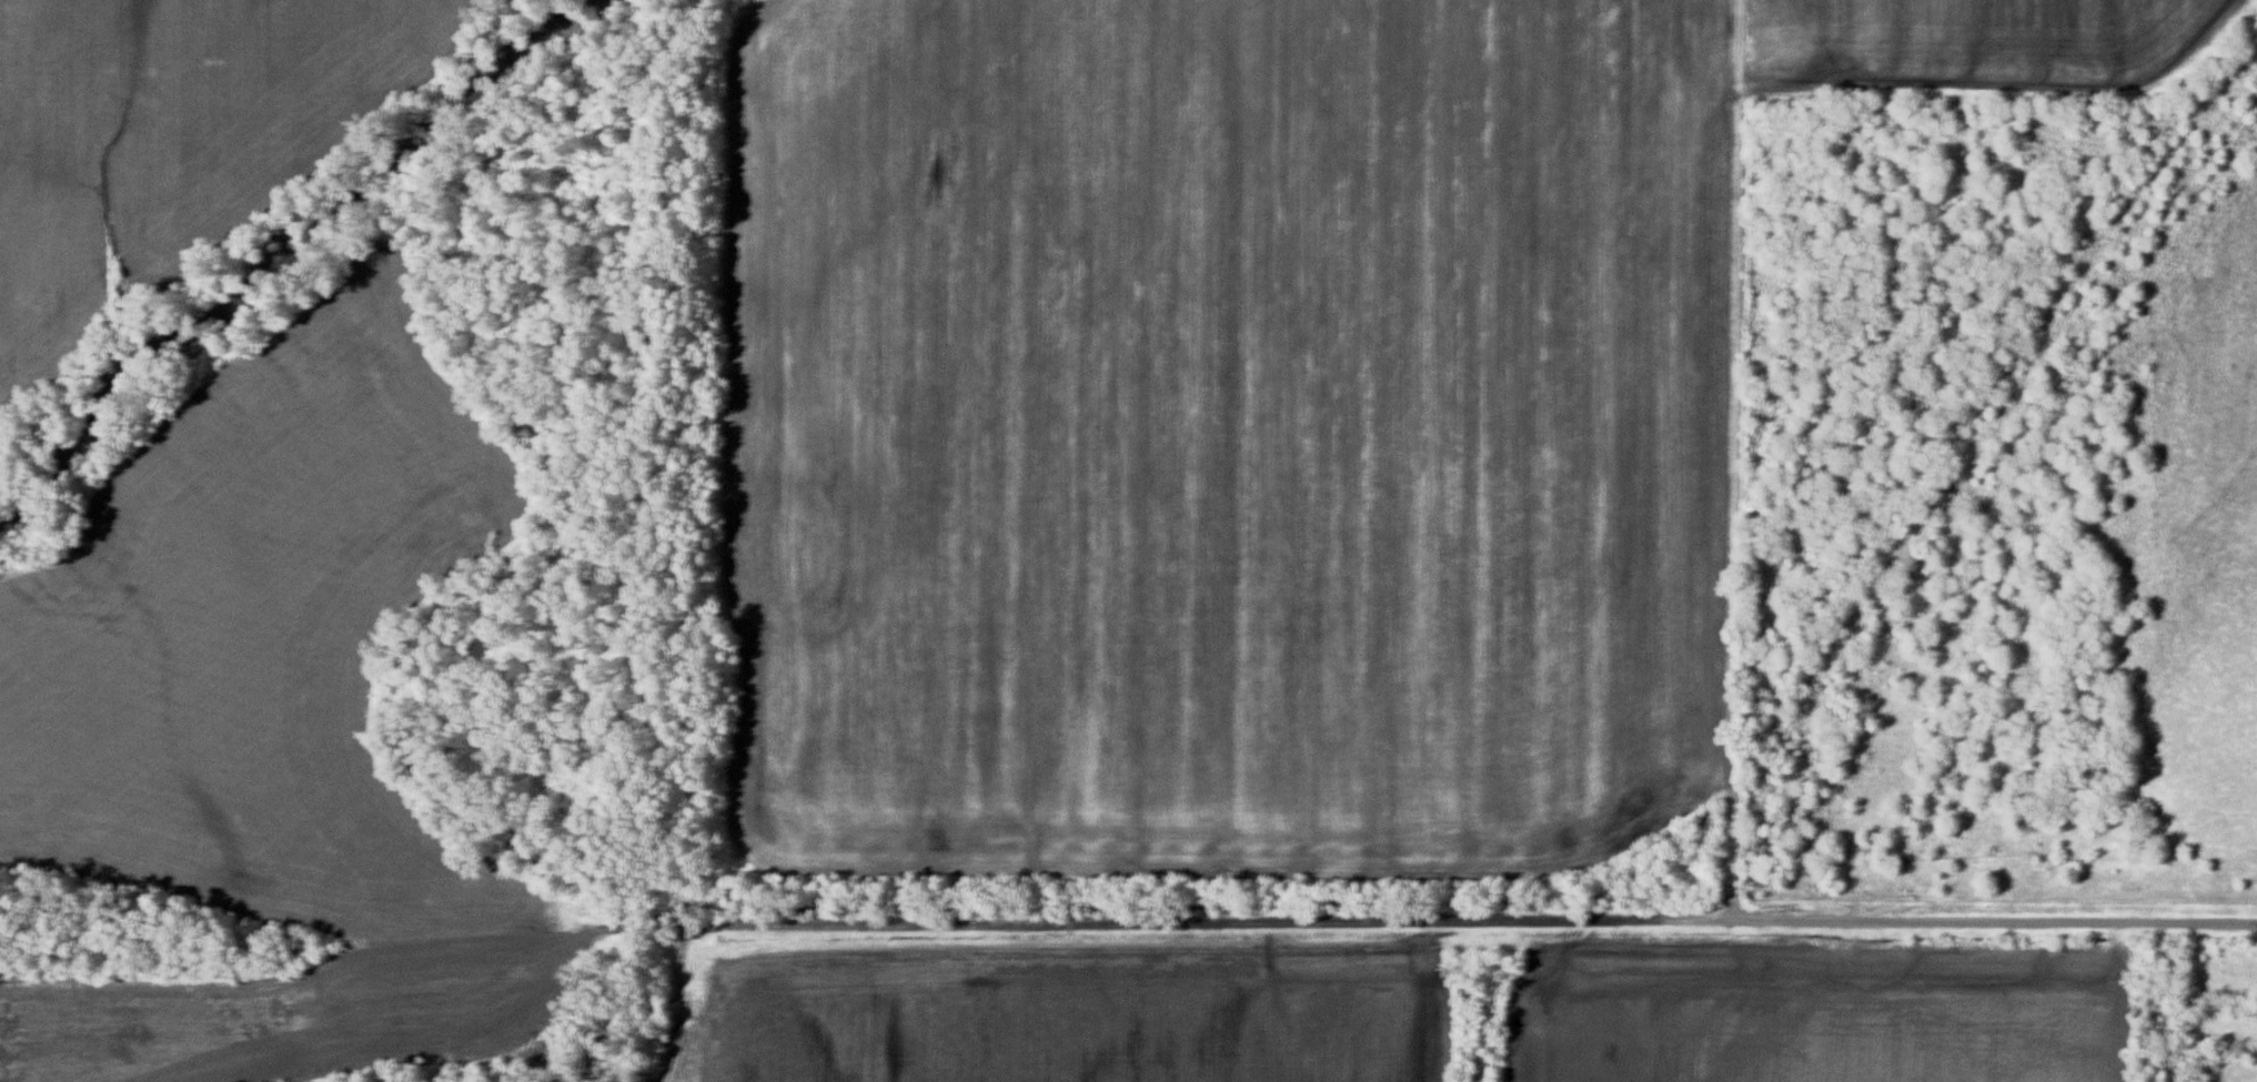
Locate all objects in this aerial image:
river: (282, 237)
road: (1724, 459)
road: (1394, 924)

